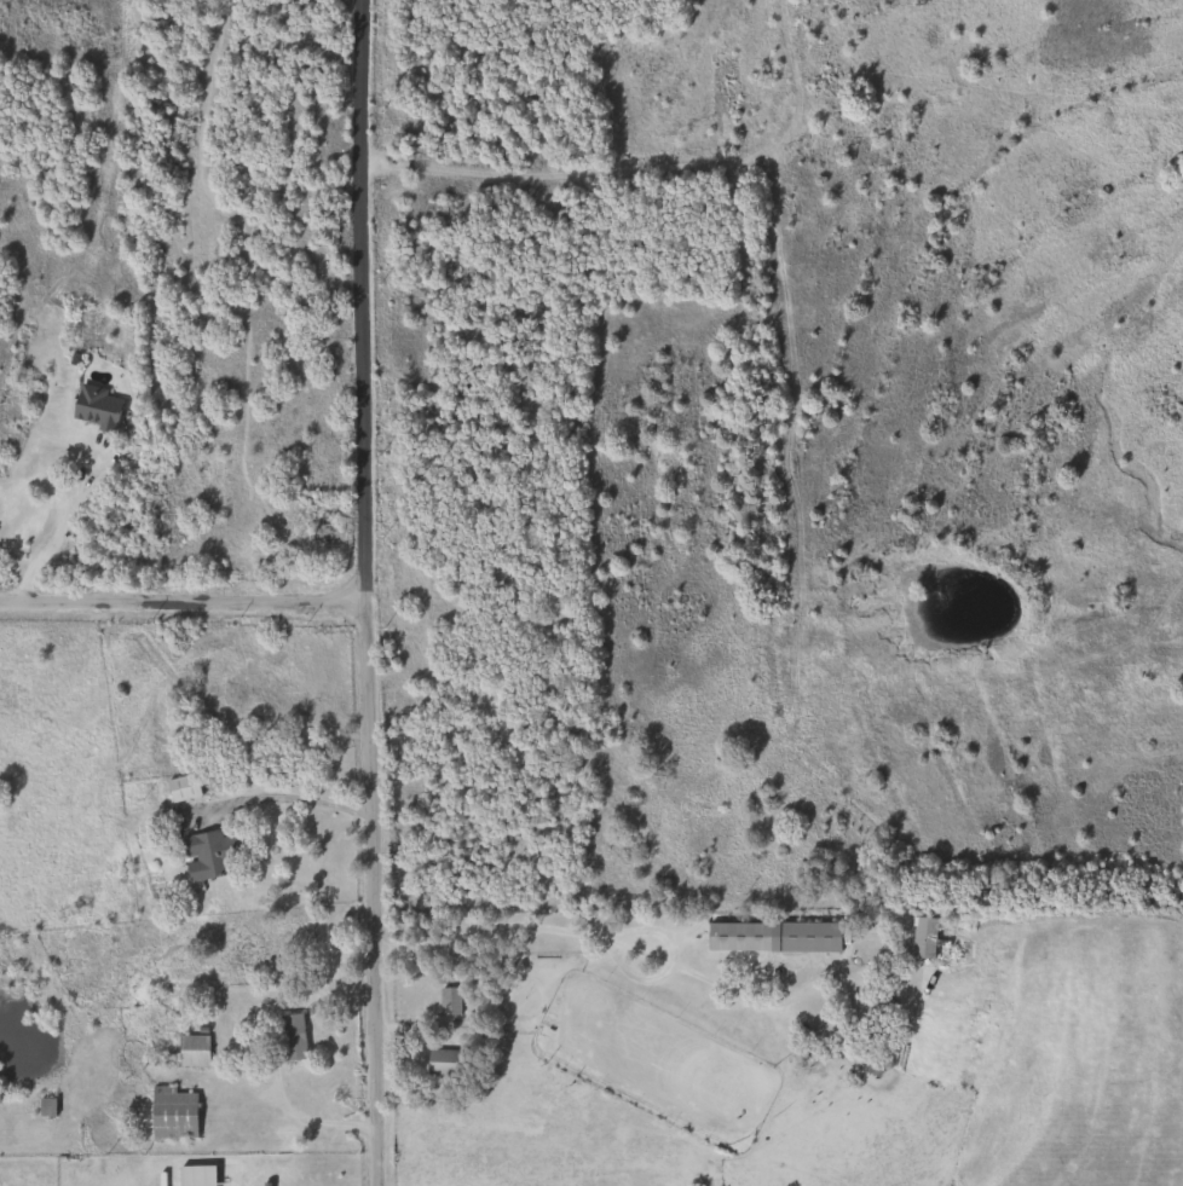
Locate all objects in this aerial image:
building: (91, 407)
road: (62, 526)
road: (359, 592)
road: (179, 601)
building: (178, 788)
road: (282, 798)
building: (201, 856)
road: (509, 925)
building: (769, 937)
building: (922, 939)
building: (444, 1001)
building: (288, 1037)
building: (189, 1051)
building: (440, 1063)
building: (42, 1107)
building: (168, 1113)

